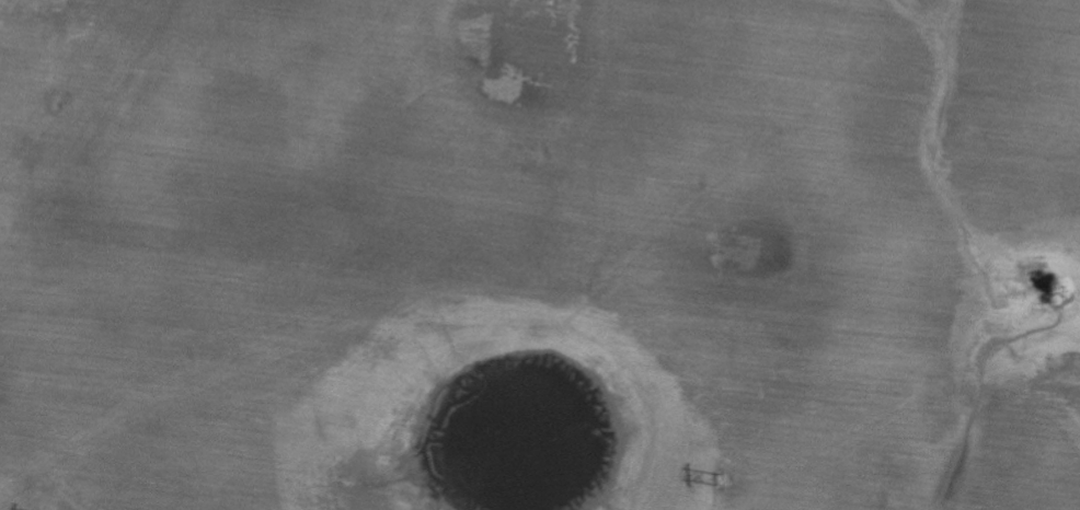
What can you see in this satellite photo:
power tower: (731, 482)

